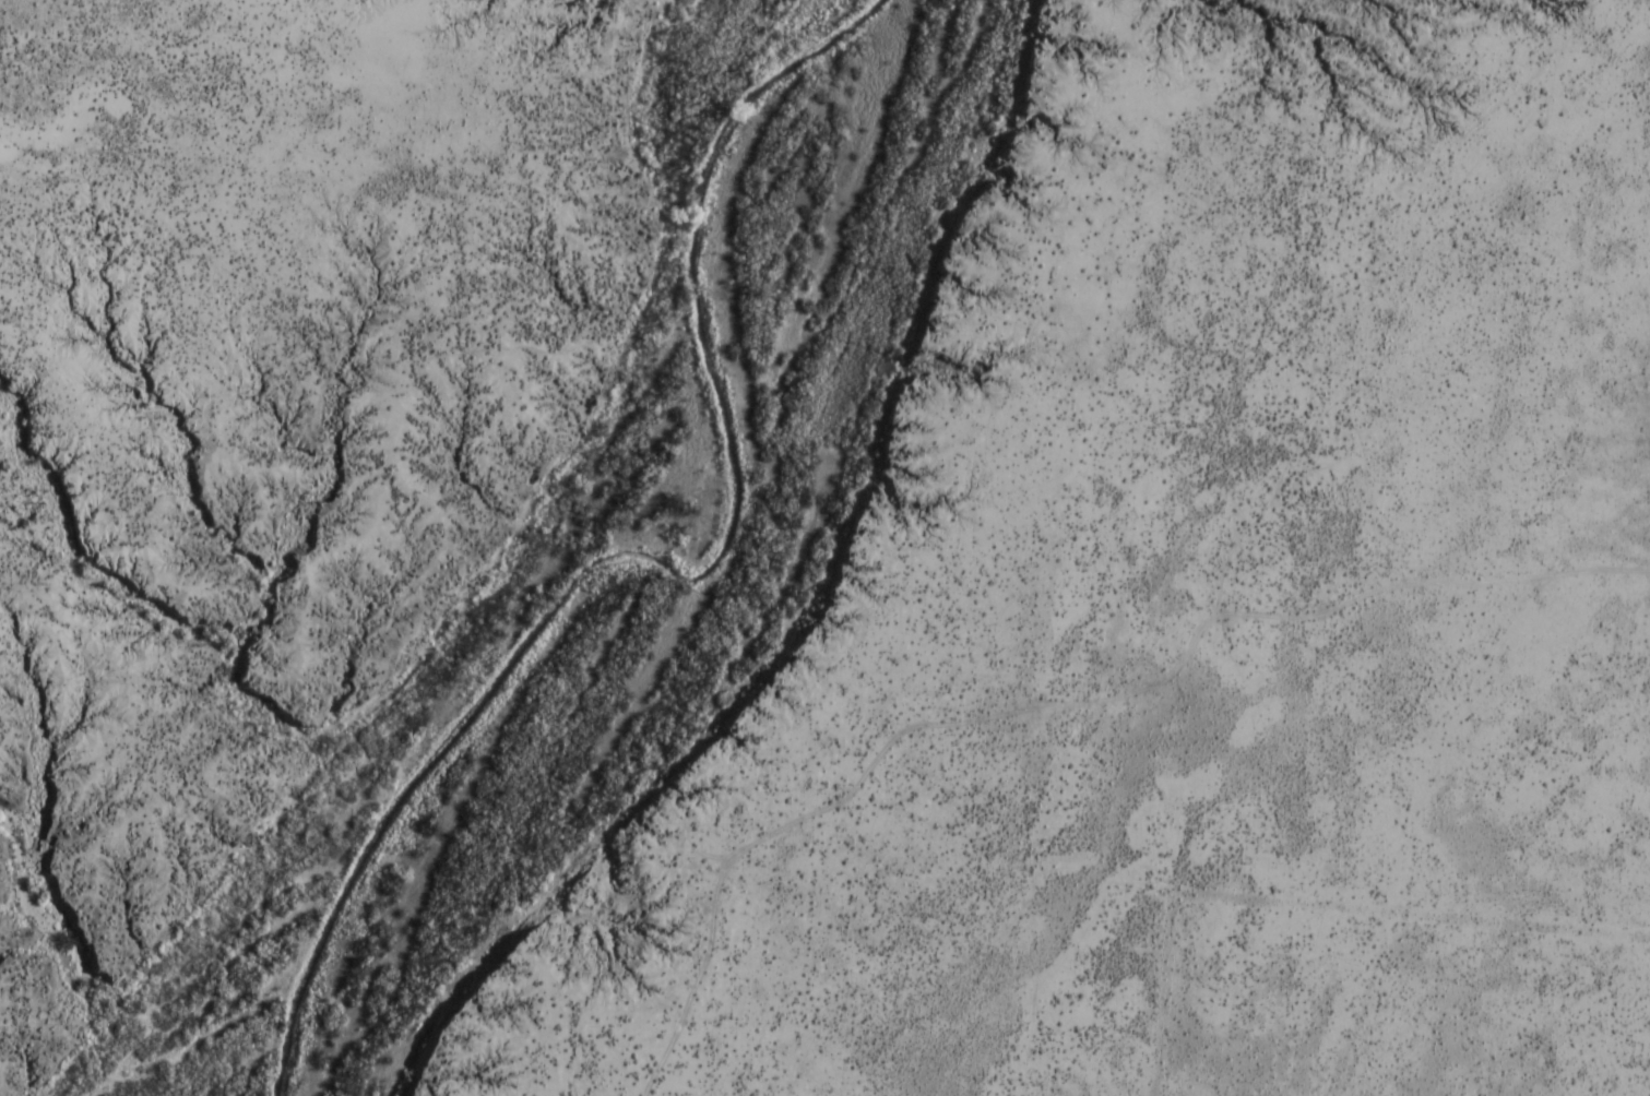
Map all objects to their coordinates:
river: (640, 560)

